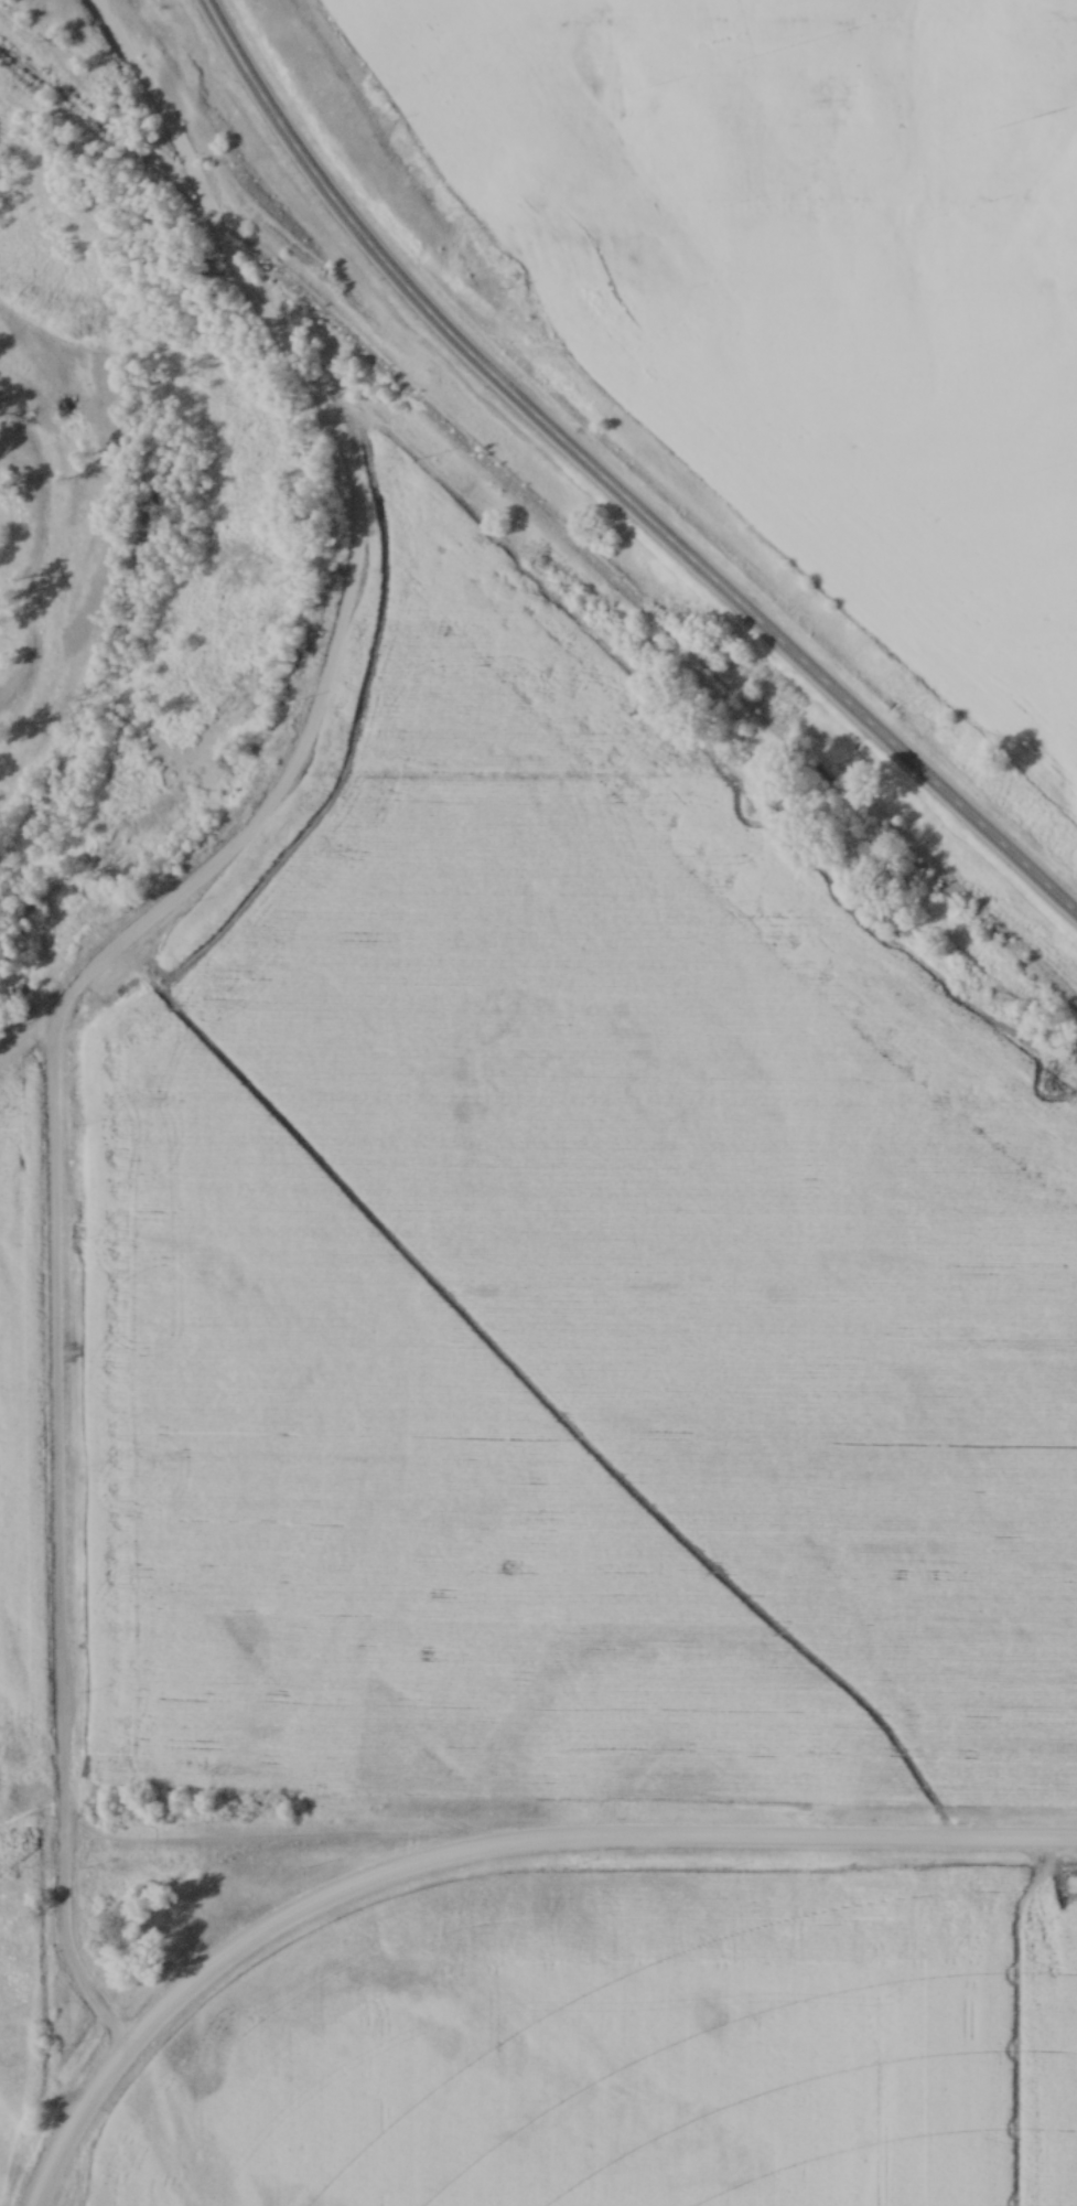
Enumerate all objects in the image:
road: (607, 486)
railway: (538, 610)
road: (54, 1041)
road: (574, 1844)

